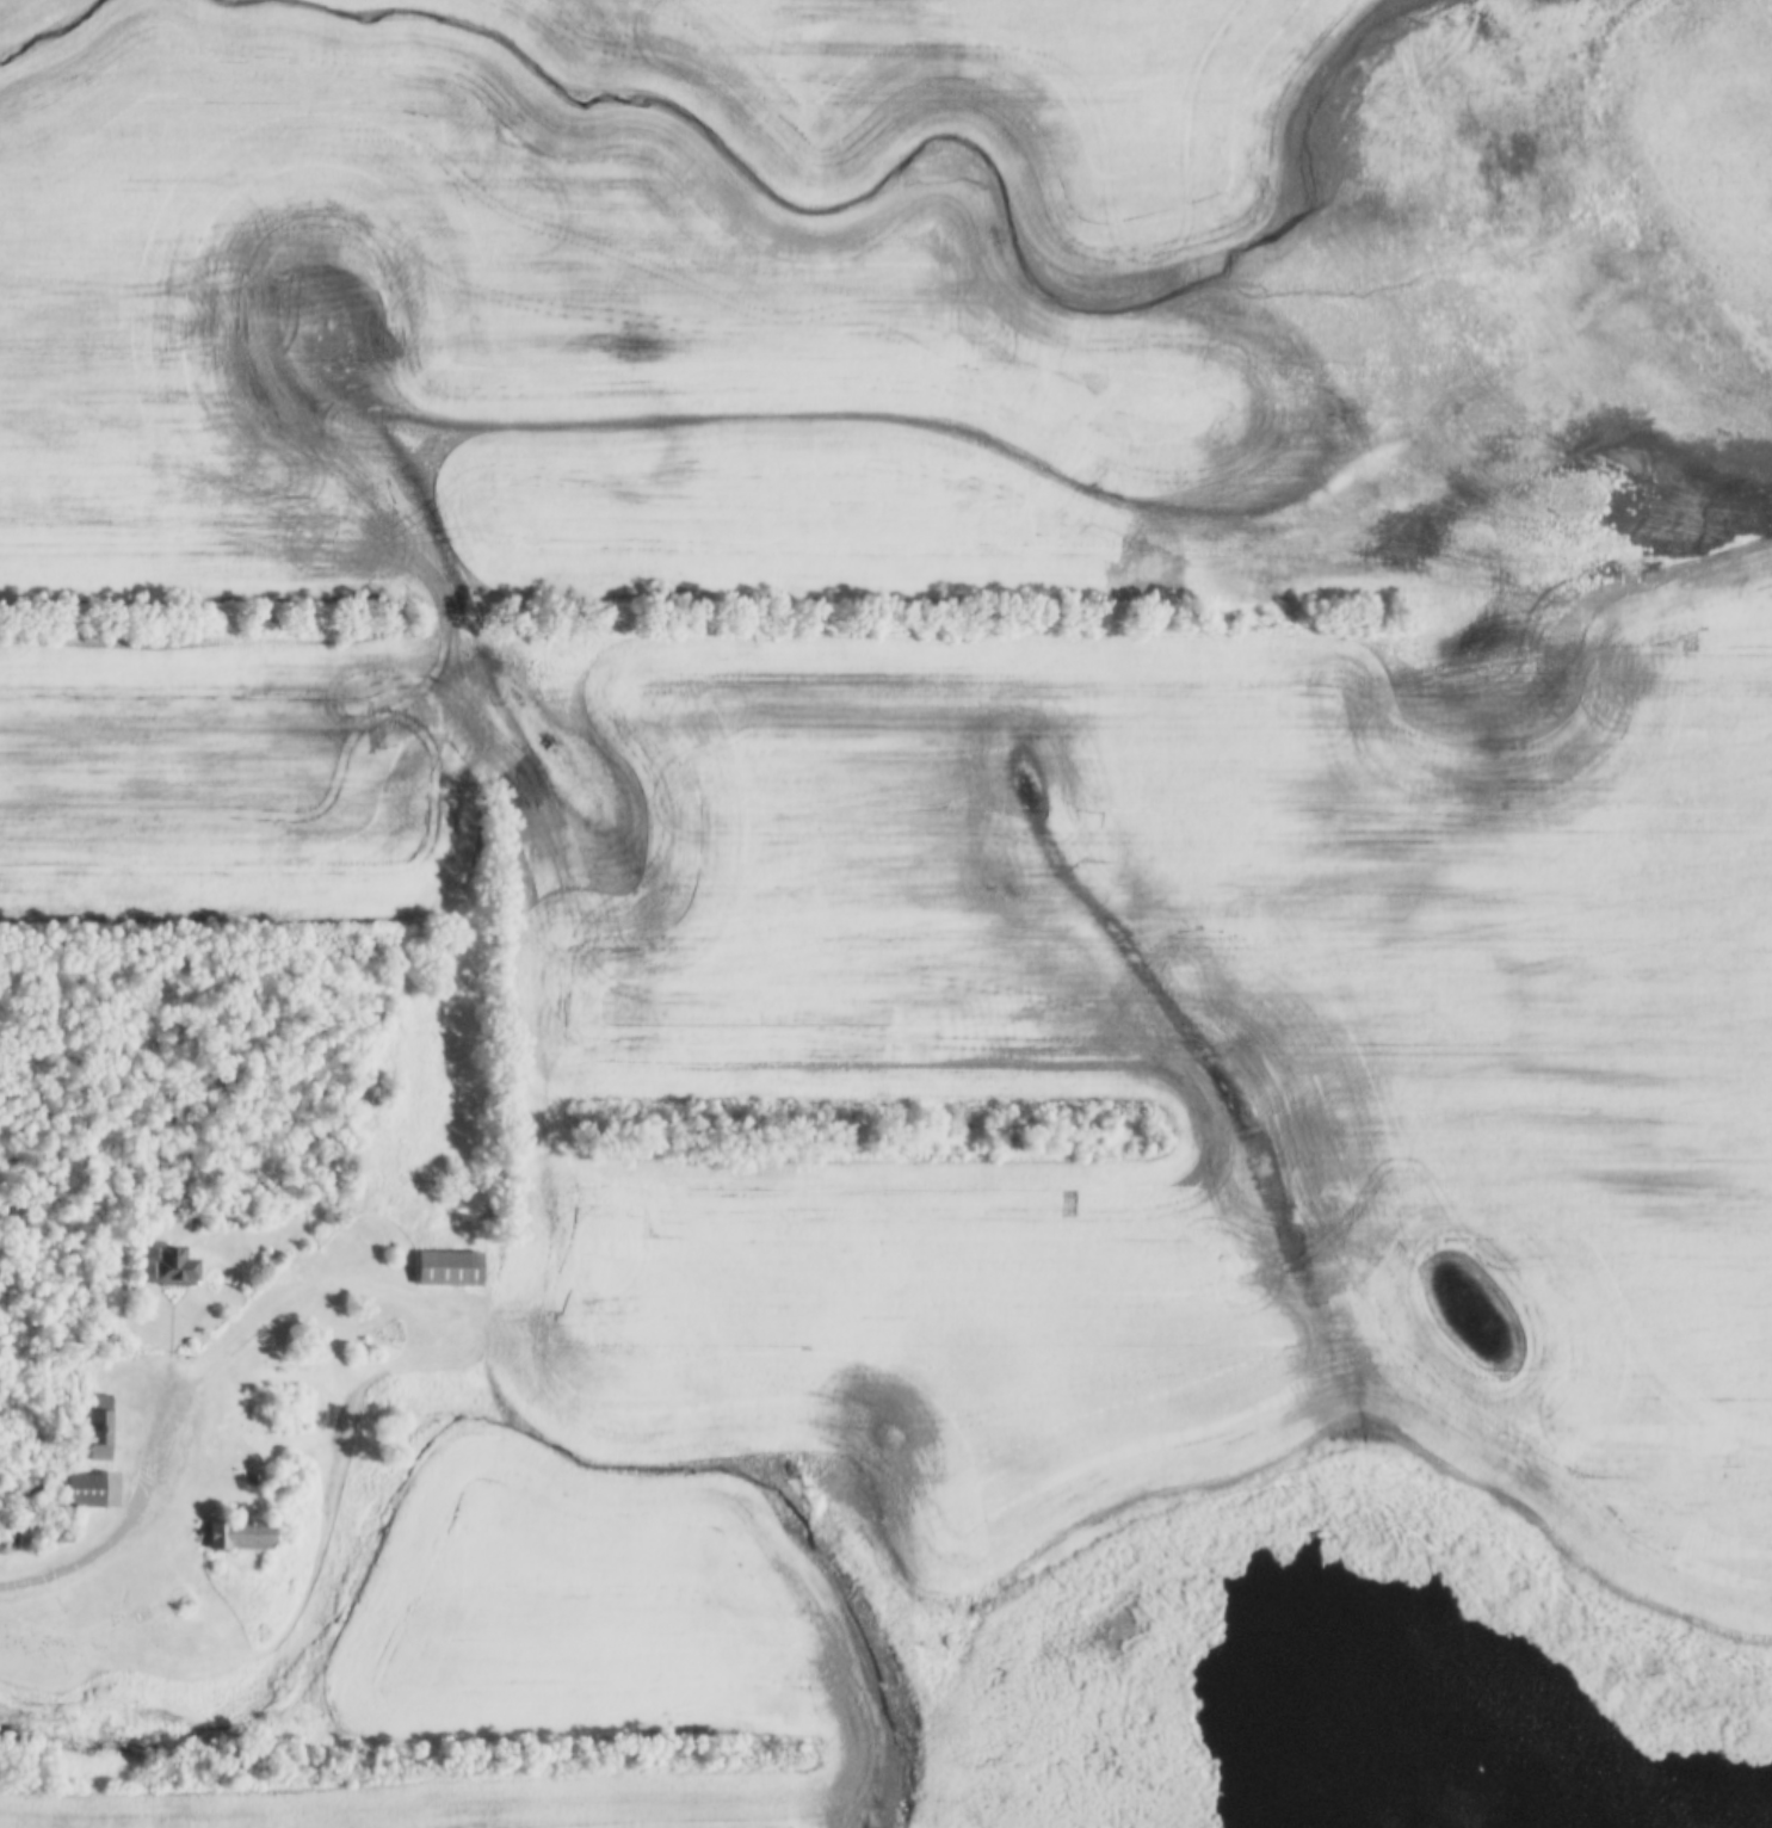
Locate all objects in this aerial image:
building: (174, 1265)
building: (450, 1267)
building: (100, 1426)
building: (92, 1489)
building: (241, 1533)
road: (126, 1536)
building: (26, 1538)

